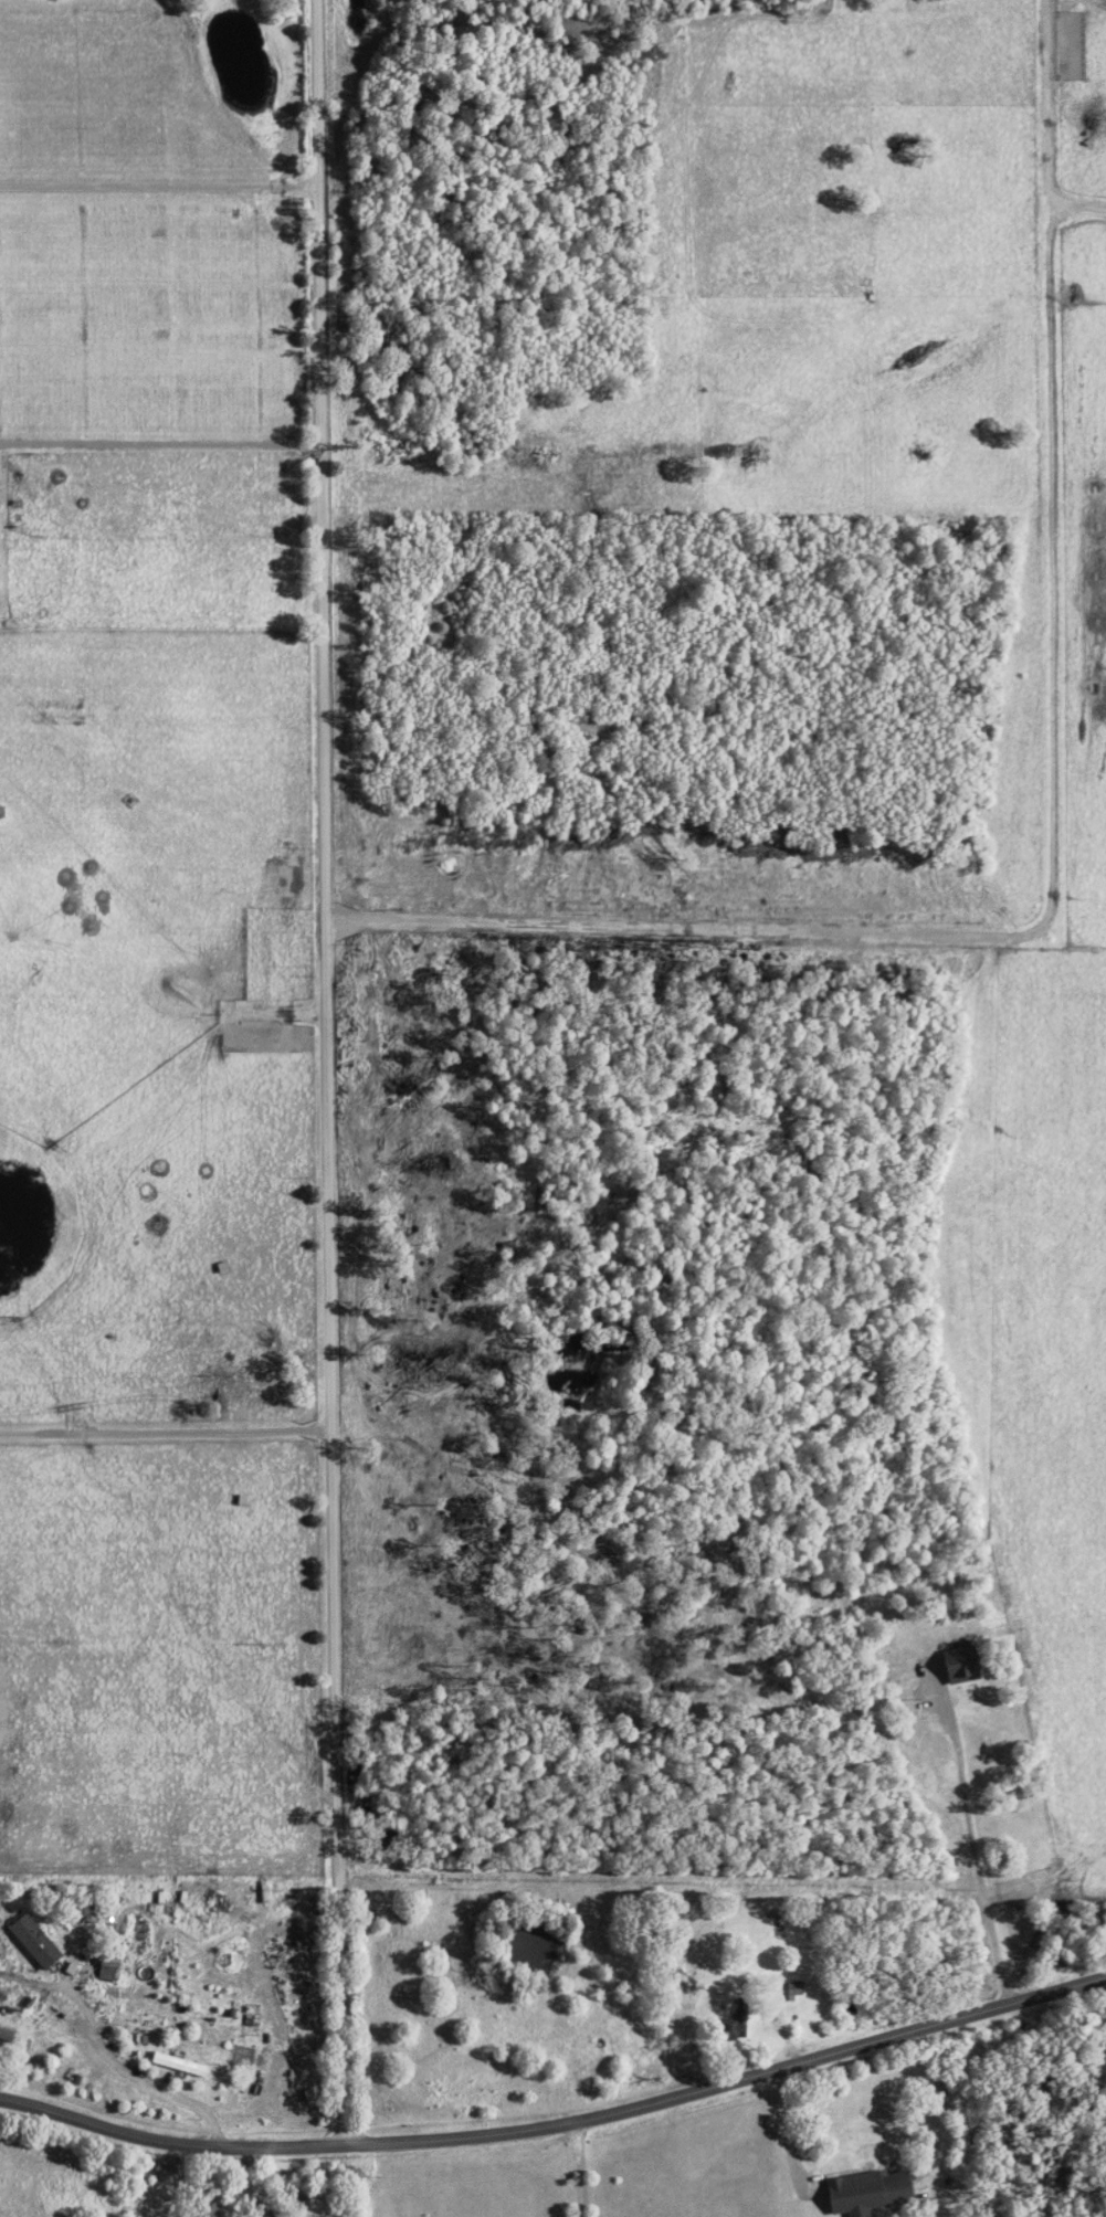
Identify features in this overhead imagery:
road: (161, 187)
road: (160, 446)
crop: (1070, 938)
road: (333, 1067)
building: (960, 1665)
road: (973, 1840)
road: (661, 1880)
building: (33, 1942)
building: (731, 2027)
building: (6, 2036)
building: (178, 2066)
road: (151, 2076)
road: (559, 2128)
road: (791, 2140)
road: (582, 2171)
building: (866, 2193)

